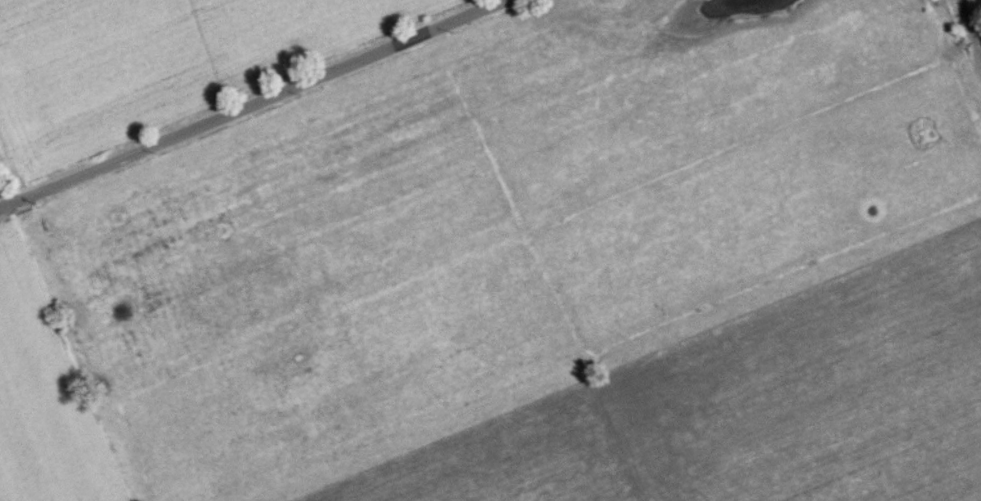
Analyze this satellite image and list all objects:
road: (972, 20)
road: (259, 98)
road: (11, 200)

